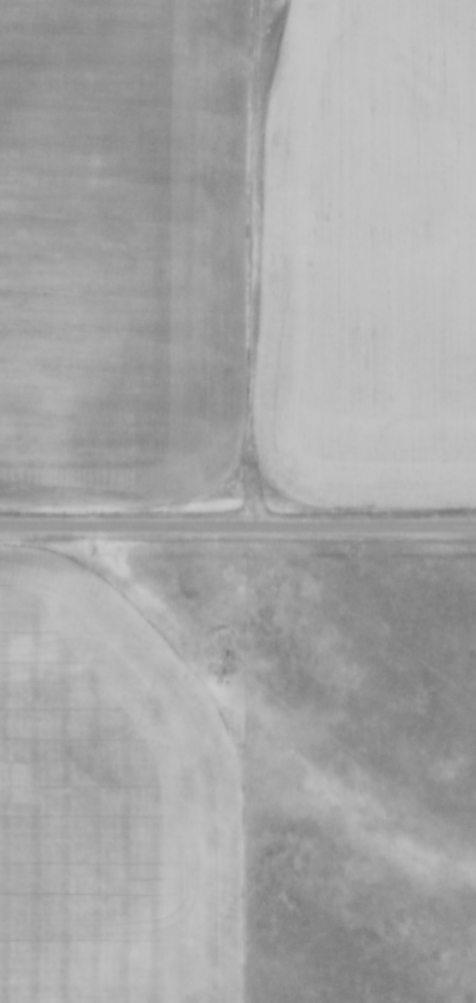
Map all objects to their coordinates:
road: (237, 528)

